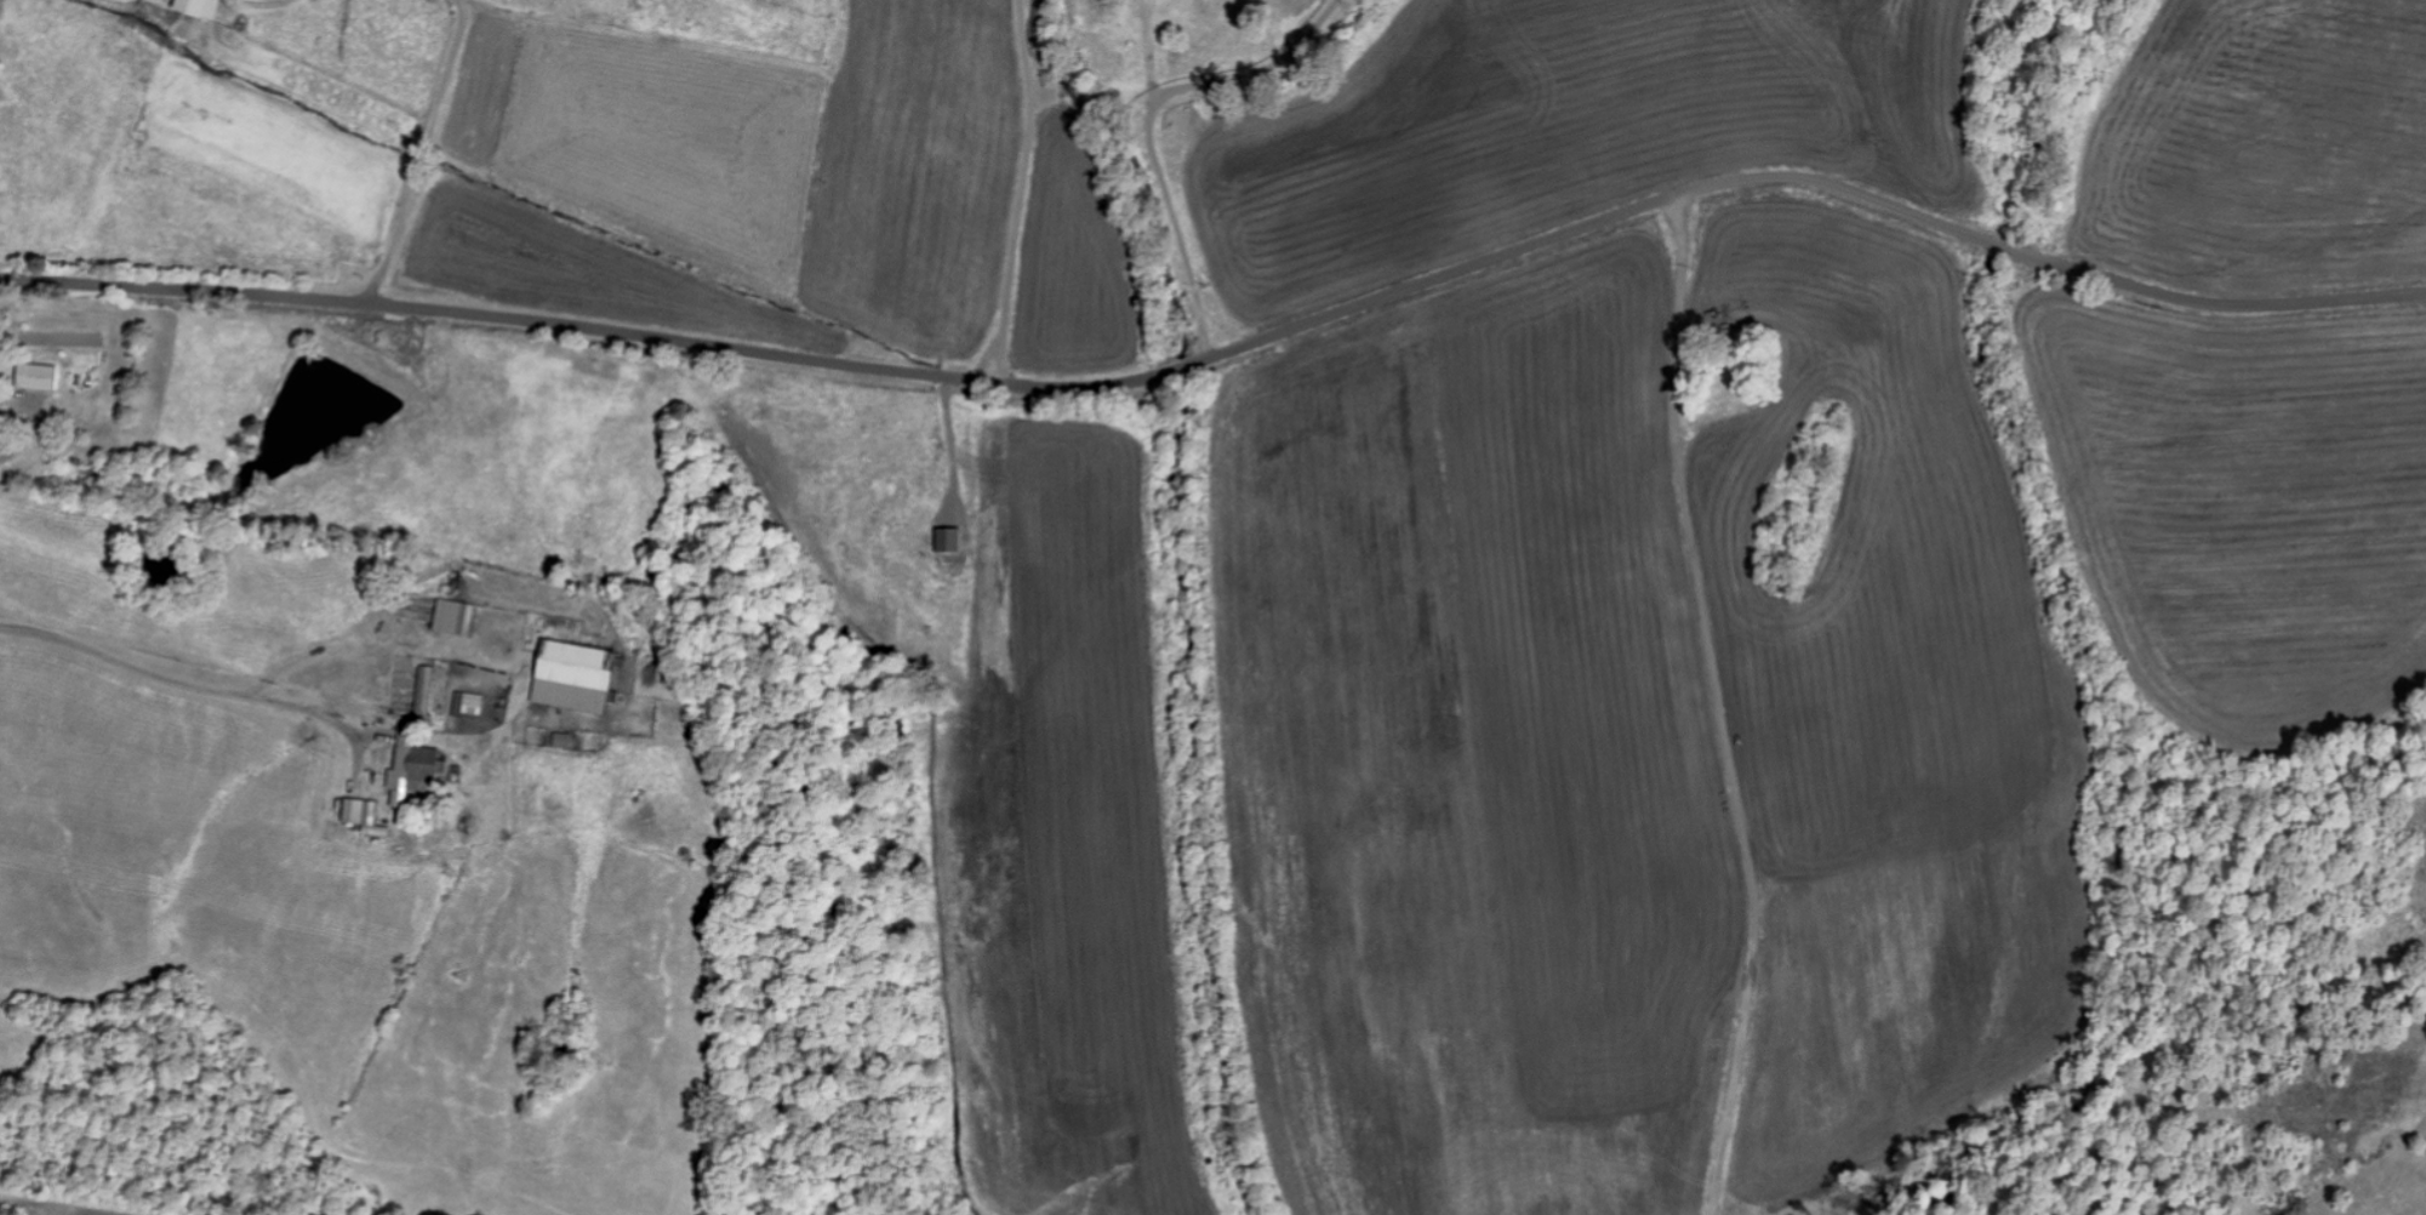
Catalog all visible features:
building: (196, 8)
road: (436, 131)
road: (1318, 141)
road: (1798, 178)
road: (592, 329)
building: (35, 377)
building: (452, 616)
building: (572, 675)
road: (182, 683)
building: (423, 690)
building: (467, 702)
building: (361, 815)
road: (2329, 1119)

